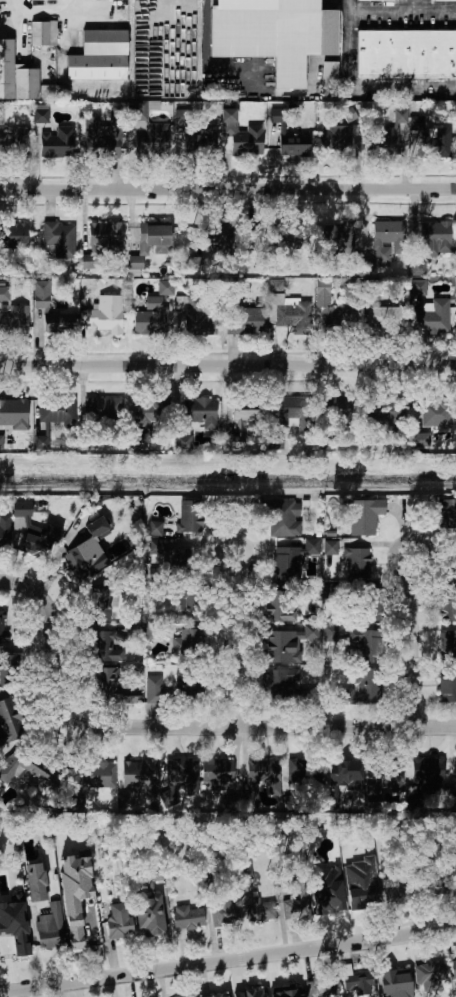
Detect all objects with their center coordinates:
building: (33, 0)
building: (379, 0)
building: (442, 0)
road: (380, 10)
road: (429, 10)
road: (40, 13)
building: (43, 33)
building: (274, 35)
building: (405, 56)
building: (98, 57)
building: (328, 75)
building: (23, 79)
road: (358, 85)
building: (277, 114)
building: (349, 114)
building: (40, 115)
building: (0, 118)
building: (393, 132)
building: (239, 134)
building: (148, 136)
building: (102, 137)
building: (335, 140)
building: (14, 143)
building: (198, 143)
building: (293, 143)
building: (437, 143)
building: (56, 144)
building: (380, 144)
road: (228, 189)
building: (14, 235)
building: (216, 235)
building: (338, 237)
building: (436, 237)
building: (60, 238)
building: (100, 240)
building: (387, 240)
building: (151, 243)
building: (196, 262)
building: (418, 286)
building: (165, 287)
building: (5, 293)
building: (41, 294)
building: (288, 306)
building: (333, 307)
building: (106, 314)
building: (151, 317)
building: (391, 318)
building: (433, 318)
building: (15, 319)
building: (198, 319)
building: (245, 319)
road: (228, 366)
building: (96, 408)
building: (149, 410)
building: (291, 410)
building: (437, 412)
building: (14, 413)
building: (197, 413)
building: (391, 413)
building: (54, 417)
building: (244, 418)
building: (421, 439)
building: (1, 442)
building: (183, 442)
building: (22, 508)
building: (446, 513)
building: (190, 515)
building: (365, 515)
building: (282, 517)
building: (155, 527)
building: (4, 531)
building: (38, 542)
building: (330, 547)
building: (89, 550)
building: (168, 552)
building: (293, 558)
building: (357, 559)
building: (454, 564)
building: (329, 590)
building: (303, 591)
building: (99, 603)
building: (448, 603)
building: (374, 604)
building: (276, 605)
building: (181, 606)
building: (2, 626)
building: (330, 632)
road: (234, 640)
road: (412, 640)
building: (188, 641)
building: (368, 641)
building: (104, 642)
building: (285, 643)
building: (448, 645)
building: (13, 661)
building: (185, 682)
building: (276, 683)
building: (108, 685)
building: (368, 686)
building: (447, 686)
building: (152, 689)
building: (343, 696)
building: (10, 723)
road: (174, 726)
building: (24, 764)
building: (262, 771)
building: (185, 772)
building: (214, 772)
building: (306, 773)
building: (454, 773)
building: (97, 774)
building: (138, 774)
building: (344, 774)
building: (387, 774)
building: (428, 774)
building: (76, 802)
building: (243, 871)
building: (154, 874)
building: (455, 874)
building: (36, 882)
building: (361, 882)
building: (433, 887)
building: (327, 891)
building: (394, 893)
building: (75, 894)
building: (295, 908)
building: (259, 911)
building: (225, 913)
building: (150, 917)
building: (187, 918)
building: (118, 920)
building: (49, 928)
building: (13, 937)
road: (227, 958)
building: (453, 967)
building: (429, 973)
building: (394, 981)
building: (358, 984)
building: (317, 986)
building: (286, 991)
building: (249, 993)
building: (215, 996)
building: (225, 996)

